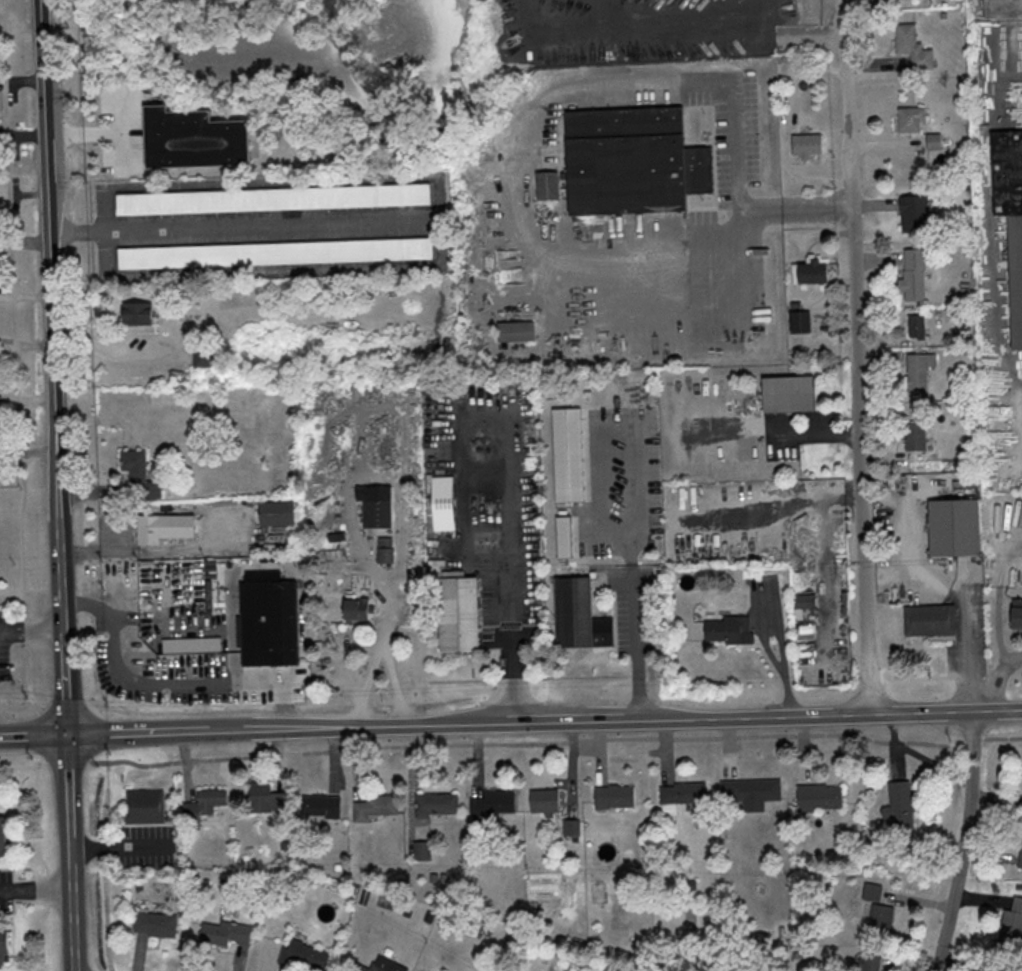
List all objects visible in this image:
building: (1001, 8)
building: (621, 20)
building: (910, 47)
road: (548, 94)
building: (909, 120)
road: (85, 130)
building: (196, 139)
building: (804, 145)
building: (621, 161)
building: (544, 186)
building: (274, 198)
building: (911, 214)
building: (1009, 219)
road: (233, 224)
building: (273, 252)
building: (810, 272)
building: (911, 284)
building: (139, 313)
building: (797, 319)
building: (914, 326)
building: (512, 331)
road: (854, 358)
building: (915, 373)
building: (784, 394)
road: (794, 431)
building: (913, 437)
building: (565, 455)
building: (141, 476)
road: (58, 485)
road: (631, 495)
building: (439, 503)
building: (373, 506)
building: (282, 512)
building: (167, 528)
building: (951, 528)
building: (561, 536)
road: (127, 548)
road: (514, 593)
building: (801, 601)
road: (384, 603)
road: (998, 604)
building: (352, 610)
building: (454, 614)
building: (576, 616)
building: (1014, 618)
building: (927, 620)
building: (268, 623)
road: (31, 629)
building: (726, 629)
road: (636, 641)
road: (967, 648)
road: (167, 680)
road: (1001, 680)
road: (365, 684)
road: (544, 723)
traffic signals: (67, 734)
road: (33, 735)
building: (748, 791)
building: (680, 793)
building: (616, 795)
building: (816, 796)
building: (266, 798)
building: (545, 800)
building: (496, 802)
building: (438, 803)
building: (145, 804)
building: (205, 804)
building: (321, 804)
building: (376, 805)
building: (896, 806)
building: (572, 826)
building: (4, 835)
road: (961, 842)
road: (119, 848)
building: (1019, 850)
road: (35, 890)
building: (878, 919)
building: (1011, 921)
building: (157, 923)
building: (229, 933)
building: (6, 947)
building: (307, 954)
building: (868, 963)
building: (382, 965)
building: (998, 968)

